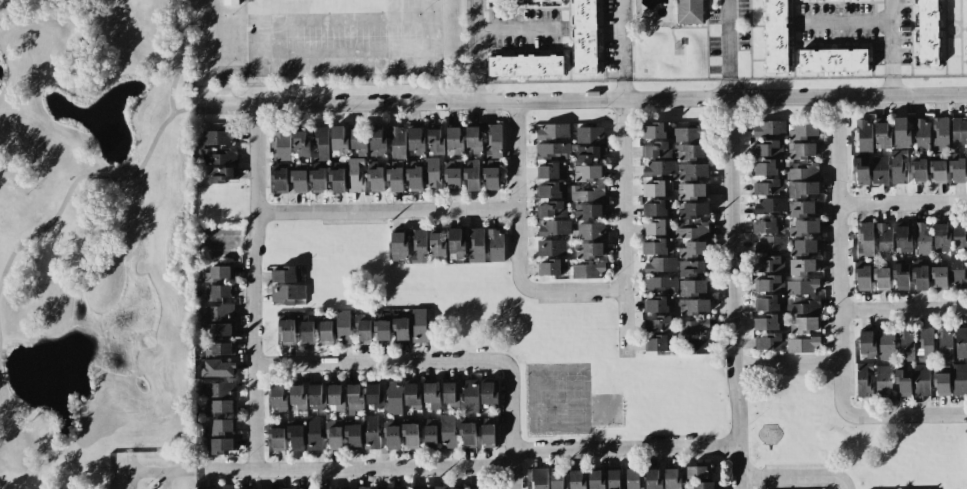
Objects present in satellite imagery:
building: (524, 1)
building: (231, 2)
building: (966, 8)
building: (689, 12)
road: (323, 22)
road: (843, 24)
road: (518, 31)
road: (379, 33)
building: (928, 33)
road: (267, 35)
building: (776, 36)
building: (585, 37)
road: (620, 37)
road: (890, 37)
road: (729, 38)
road: (474, 40)
road: (323, 53)
road: (179, 56)
building: (833, 59)
building: (526, 64)
road: (423, 67)
road: (229, 71)
road: (891, 85)
road: (622, 87)
road: (731, 87)
road: (474, 90)
road: (585, 99)
road: (188, 109)
building: (769, 129)
building: (959, 130)
building: (552, 131)
building: (656, 131)
building: (804, 131)
building: (902, 132)
building: (922, 133)
building: (590, 134)
building: (691, 134)
building: (882, 134)
building: (940, 134)
building: (219, 136)
building: (864, 136)
building: (359, 139)
building: (377, 140)
building: (416, 140)
building: (454, 140)
building: (474, 140)
building: (492, 140)
building: (339, 141)
building: (397, 141)
building: (435, 141)
building: (301, 143)
building: (320, 143)
building: (280, 144)
building: (769, 148)
building: (657, 150)
building: (803, 150)
building: (590, 151)
building: (552, 152)
building: (691, 152)
building: (221, 155)
building: (768, 167)
building: (899, 167)
building: (590, 168)
building: (957, 168)
building: (657, 169)
building: (802, 169)
building: (879, 169)
building: (691, 170)
building: (860, 170)
building: (919, 170)
building: (552, 171)
building: (938, 171)
building: (432, 173)
building: (453, 173)
building: (355, 174)
building: (472, 174)
building: (221, 175)
building: (491, 175)
building: (414, 176)
building: (298, 177)
road: (78, 178)
building: (278, 178)
building: (376, 178)
building: (318, 179)
building: (337, 179)
building: (394, 179)
building: (590, 185)
building: (768, 186)
building: (656, 188)
building: (552, 190)
building: (802, 190)
building: (693, 192)
building: (587, 193)
building: (590, 202)
road: (902, 204)
building: (768, 205)
building: (657, 207)
building: (802, 207)
building: (552, 209)
road: (387, 211)
building: (693, 211)
building: (590, 219)
building: (768, 223)
building: (658, 226)
building: (804, 227)
building: (552, 228)
road: (624, 228)
building: (692, 229)
building: (590, 236)
building: (941, 236)
building: (960, 237)
park: (93, 238)
building: (865, 238)
building: (904, 238)
building: (923, 238)
building: (885, 239)
building: (439, 243)
building: (455, 243)
building: (767, 243)
building: (399, 245)
building: (419, 245)
building: (477, 245)
building: (494, 245)
road: (518, 245)
building: (658, 245)
building: (552, 247)
building: (803, 247)
building: (693, 249)
building: (590, 254)
road: (837, 255)
building: (768, 263)
building: (552, 266)
building: (661, 266)
building: (803, 266)
building: (692, 268)
building: (588, 270)
building: (958, 271)
building: (218, 273)
building: (285, 273)
building: (901, 274)
building: (881, 275)
building: (920, 275)
building: (863, 277)
building: (939, 277)
building: (768, 282)
building: (661, 283)
building: (802, 285)
road: (253, 286)
building: (693, 287)
building: (218, 293)
building: (288, 293)
road: (731, 293)
building: (768, 303)
building: (658, 304)
building: (803, 305)
building: (694, 307)
road: (903, 309)
building: (216, 313)
building: (768, 322)
building: (805, 323)
building: (657, 324)
building: (342, 325)
building: (419, 325)
building: (692, 328)
building: (363, 329)
building: (400, 329)
building: (382, 330)
building: (218, 331)
building: (286, 331)
building: (306, 331)
building: (325, 331)
building: (769, 341)
building: (656, 342)
building: (961, 342)
building: (866, 343)
building: (925, 343)
building: (945, 343)
building: (803, 344)
building: (887, 344)
building: (906, 344)
building: (697, 345)
building: (218, 349)
road: (380, 362)
road: (786, 364)
building: (217, 368)
building: (960, 378)
building: (864, 379)
building: (883, 380)
building: (903, 380)
building: (922, 380)
building: (941, 383)
building: (218, 390)
building: (354, 393)
building: (489, 393)
building: (315, 394)
building: (372, 394)
building: (450, 394)
building: (431, 395)
building: (471, 395)
building: (412, 396)
road: (3, 397)
building: (298, 397)
building: (336, 397)
building: (394, 397)
building: (279, 398)
park: (572, 398)
park: (543, 399)
building: (220, 407)
park: (605, 409)
road: (906, 416)
road: (512, 425)
building: (222, 426)
building: (447, 430)
building: (371, 431)
building: (313, 432)
building: (486, 432)
building: (467, 433)
building: (353, 435)
building: (410, 435)
building: (429, 435)
building: (392, 436)
building: (295, 437)
building: (334, 437)
building: (276, 438)
building: (220, 444)
road: (625, 448)
road: (356, 468)
road: (160, 471)
building: (699, 477)
road: (796, 477)
building: (539, 478)
building: (673, 478)
building: (556, 479)
building: (596, 479)
building: (613, 479)
building: (634, 479)
building: (653, 479)
building: (577, 480)
building: (363, 487)
building: (439, 487)
building: (284, 488)
building: (419, 488)
building: (457, 488)
building: (478, 488)

